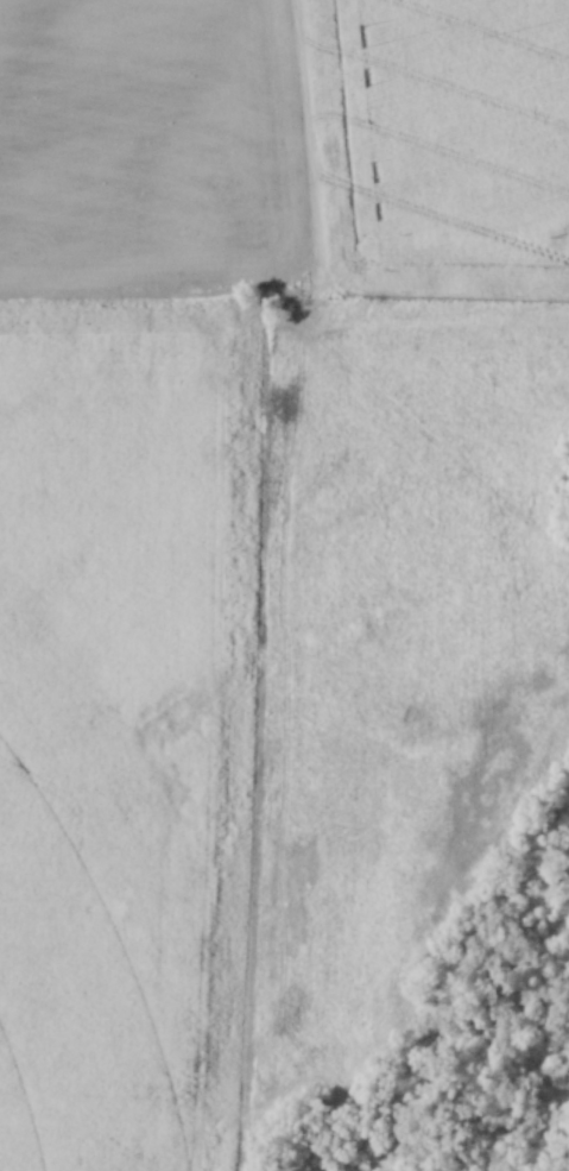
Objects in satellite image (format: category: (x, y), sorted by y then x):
road: (303, 139)

